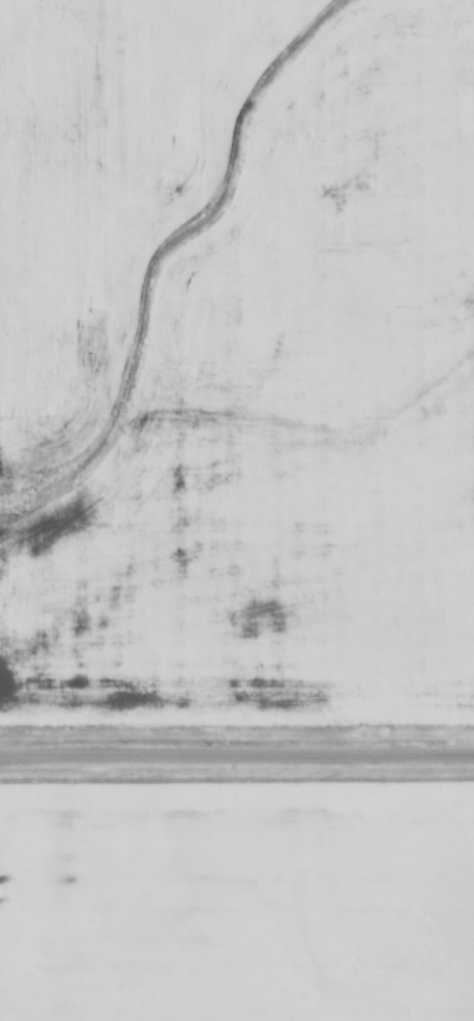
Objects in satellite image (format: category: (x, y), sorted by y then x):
road: (237, 757)

